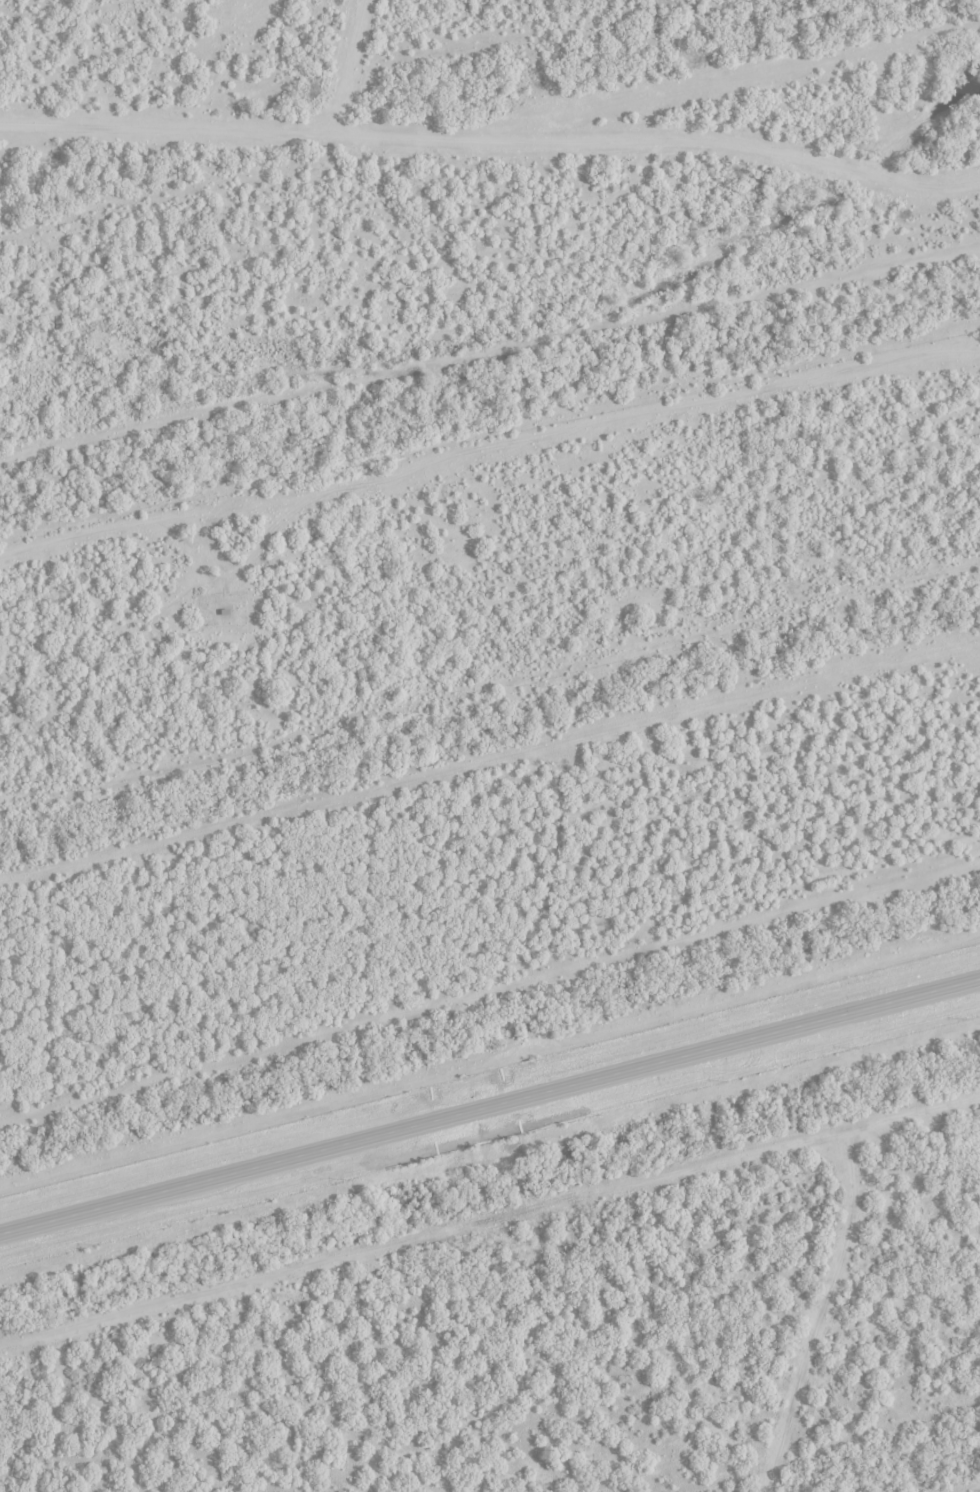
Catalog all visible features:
road: (490, 175)
road: (490, 1105)

